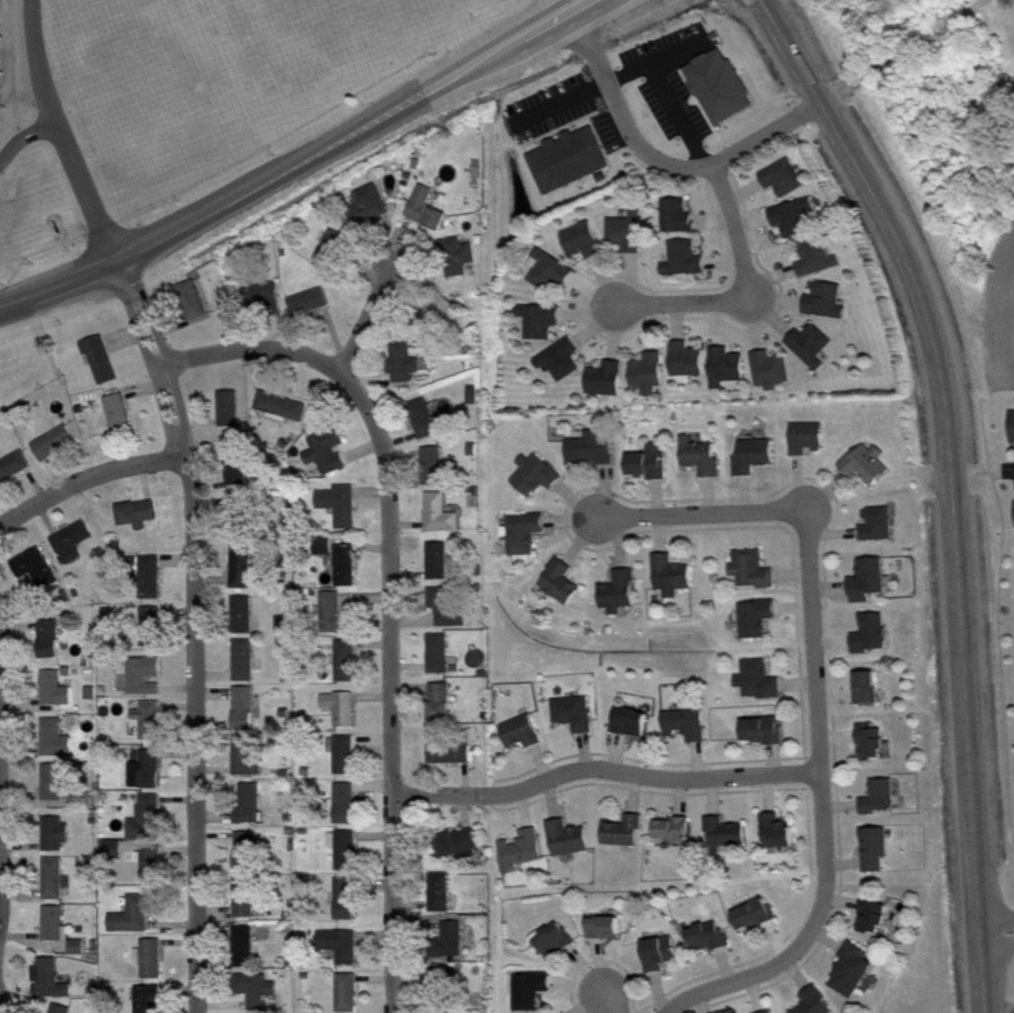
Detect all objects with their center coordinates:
road: (652, 57)
road: (905, 57)
building: (723, 94)
road: (678, 114)
road: (65, 136)
road: (27, 146)
road: (662, 161)
road: (300, 165)
building: (573, 168)
building: (787, 186)
building: (372, 214)
building: (429, 217)
building: (681, 224)
building: (797, 225)
road: (737, 229)
building: (630, 239)
building: (587, 249)
building: (335, 255)
building: (460, 264)
building: (820, 266)
building: (688, 267)
building: (553, 278)
road: (684, 297)
building: (263, 303)
building: (196, 308)
building: (830, 309)
building: (313, 310)
road: (367, 318)
building: (442, 320)
building: (543, 328)
road: (252, 352)
building: (814, 353)
building: (104, 367)
building: (564, 367)
building: (690, 367)
building: (407, 371)
building: (729, 375)
building: (773, 378)
building: (651, 381)
building: (609, 387)
building: (285, 413)
building: (232, 416)
building: (122, 421)
building: (429, 427)
building: (810, 446)
building: (58, 450)
building: (595, 456)
building: (330, 459)
building: (757, 464)
building: (704, 465)
building: (653, 471)
building: (870, 472)
building: (437, 473)
building: (16, 475)
building: (239, 475)
road: (87, 477)
building: (539, 482)
road: (949, 486)
building: (343, 513)
road: (702, 518)
building: (141, 521)
building: (444, 522)
building: (880, 532)
building: (242, 535)
building: (528, 541)
building: (76, 550)
building: (441, 569)
building: (349, 573)
building: (245, 575)
building: (39, 576)
building: (755, 577)
building: (675, 583)
building: (154, 585)
building: (871, 588)
building: (564, 590)
building: (622, 600)
building: (451, 613)
building: (246, 622)
building: (339, 623)
building: (759, 626)
building: (285, 632)
road: (189, 633)
building: (153, 634)
building: (874, 641)
building: (52, 647)
building: (442, 662)
building: (247, 668)
building: (349, 668)
road: (392, 681)
building: (146, 684)
building: (761, 688)
building: (869, 696)
building: (58, 697)
building: (443, 710)
building: (247, 716)
building: (343, 716)
building: (577, 721)
building: (152, 728)
building: (634, 730)
building: (689, 732)
building: (766, 738)
building: (525, 740)
road: (819, 746)
building: (58, 747)
building: (874, 750)
building: (453, 761)
building: (346, 762)
building: (249, 765)
road: (738, 776)
building: (149, 778)
building: (58, 788)
road: (524, 789)
building: (883, 805)
building: (348, 811)
building: (149, 827)
building: (677, 837)
building: (626, 839)
building: (780, 839)
building: (58, 841)
building: (727, 842)
building: (571, 846)
building: (460, 850)
building: (347, 857)
building: (524, 857)
building: (878, 857)
building: (115, 858)
building: (249, 859)
building: (154, 872)
building: (56, 886)
building: (443, 900)
building: (248, 907)
building: (349, 907)
road: (996, 920)
building: (138, 922)
building: (757, 922)
building: (876, 925)
building: (58, 932)
building: (607, 935)
road: (996, 937)
building: (712, 945)
building: (453, 948)
building: (557, 948)
building: (343, 953)
building: (247, 954)
building: (81, 955)
building: (662, 961)
building: (154, 967)
building: (855, 979)
road: (724, 984)
building: (447, 987)
building: (54, 988)
building: (261, 996)
building: (534, 996)
building: (350, 997)
road: (618, 1000)
building: (150, 1003)
building: (818, 1005)
building: (56, 1012)

